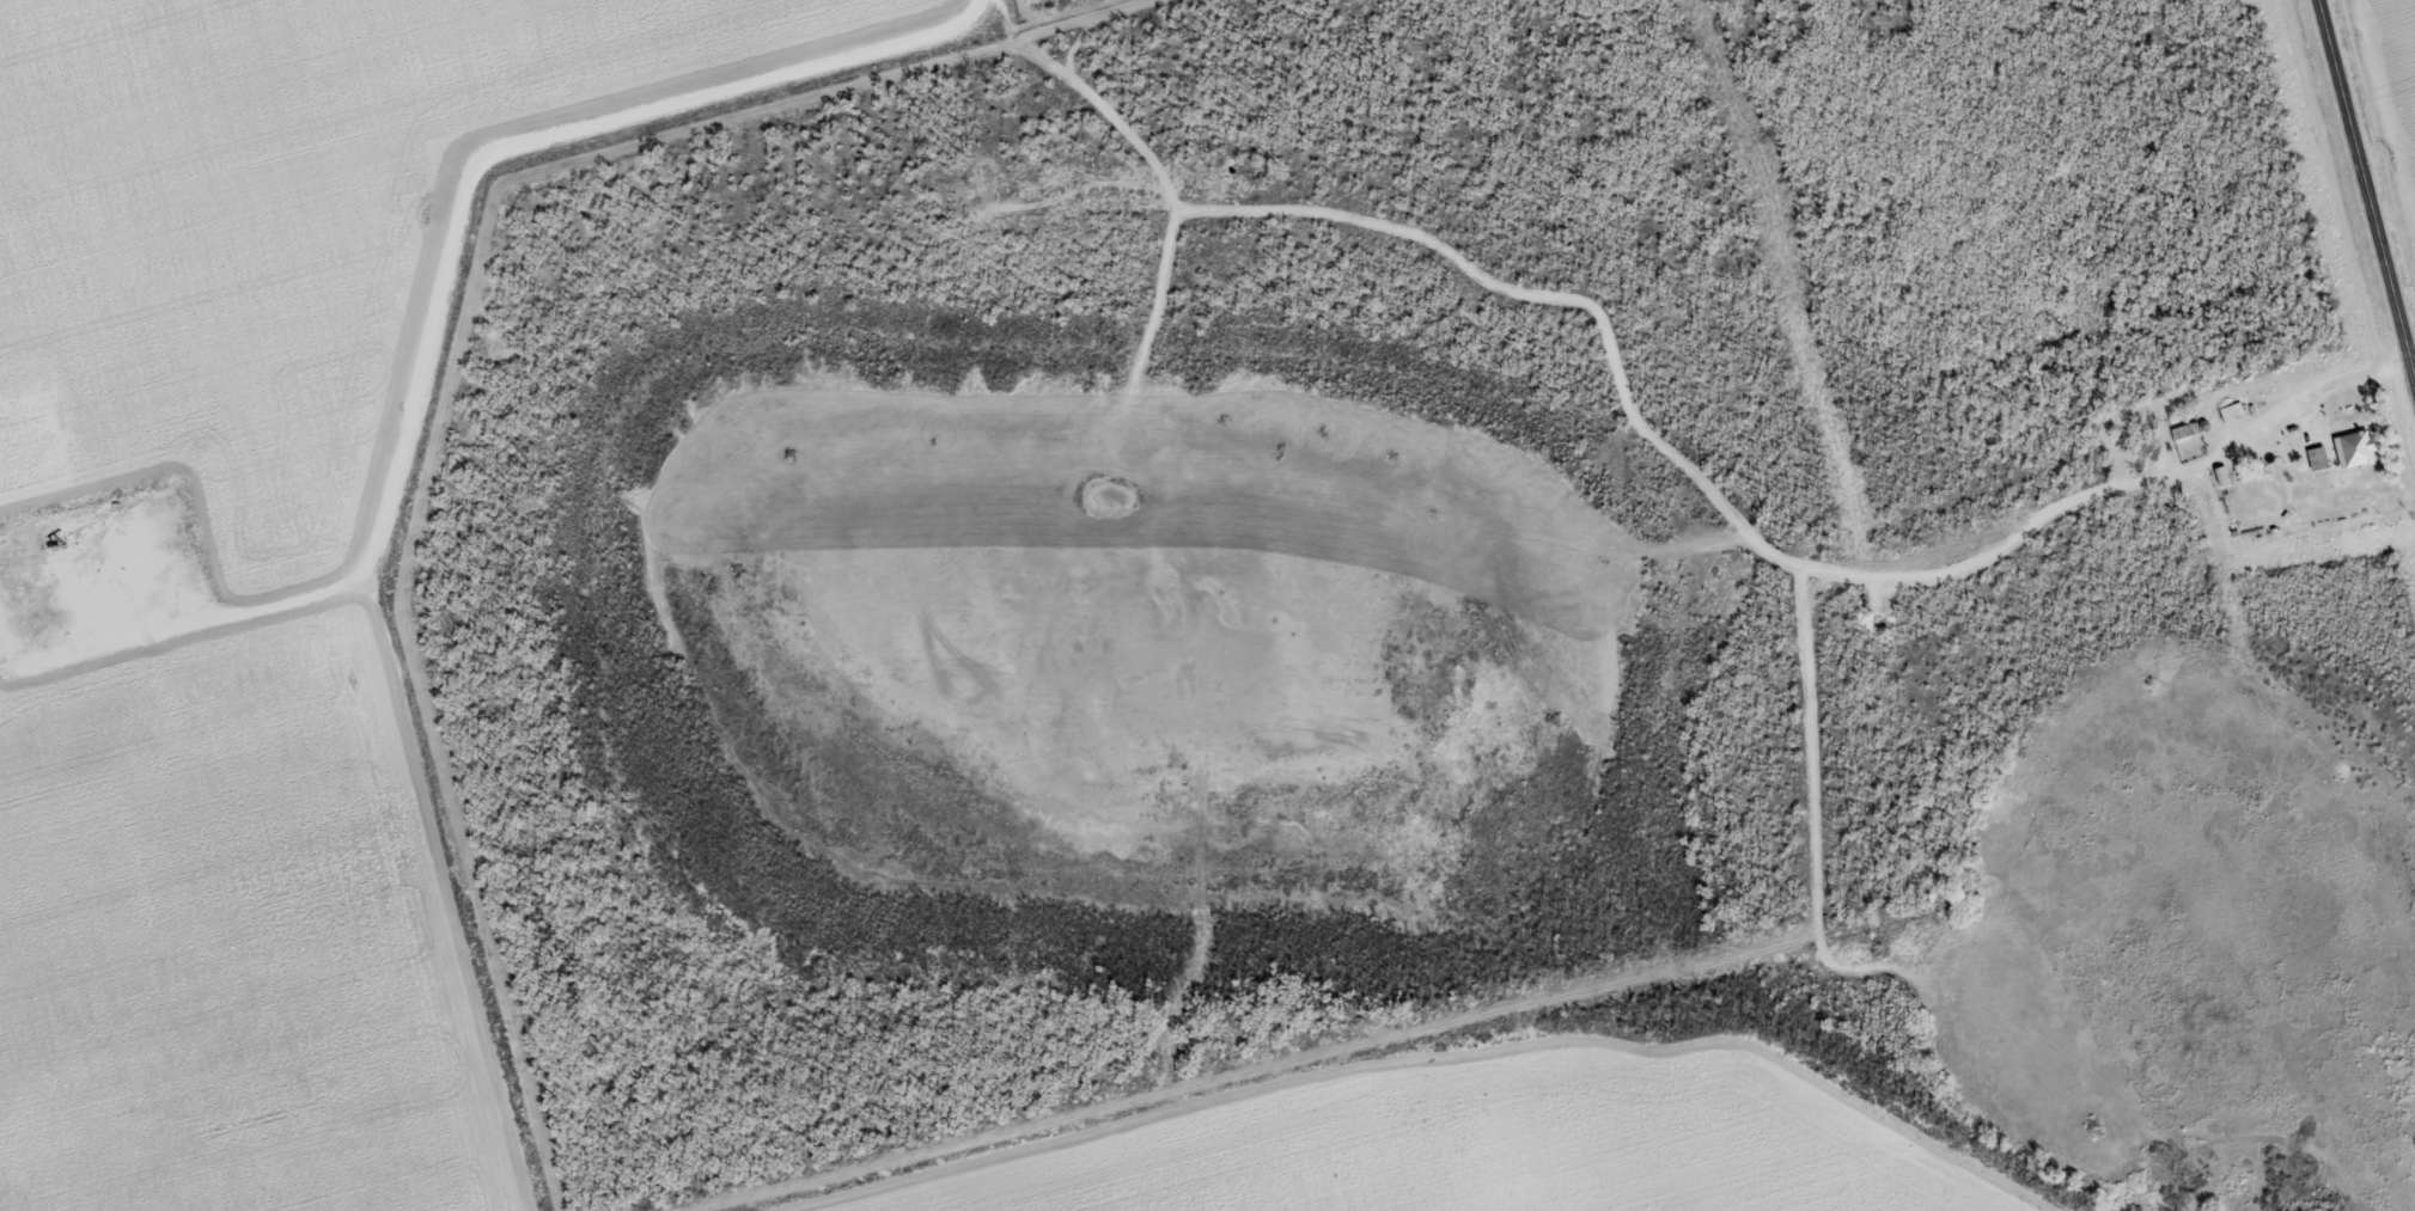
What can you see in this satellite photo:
road: (2366, 194)
road: (2307, 385)
building: (2231, 410)
building: (2183, 426)
building: (2360, 447)
building: (2319, 458)

